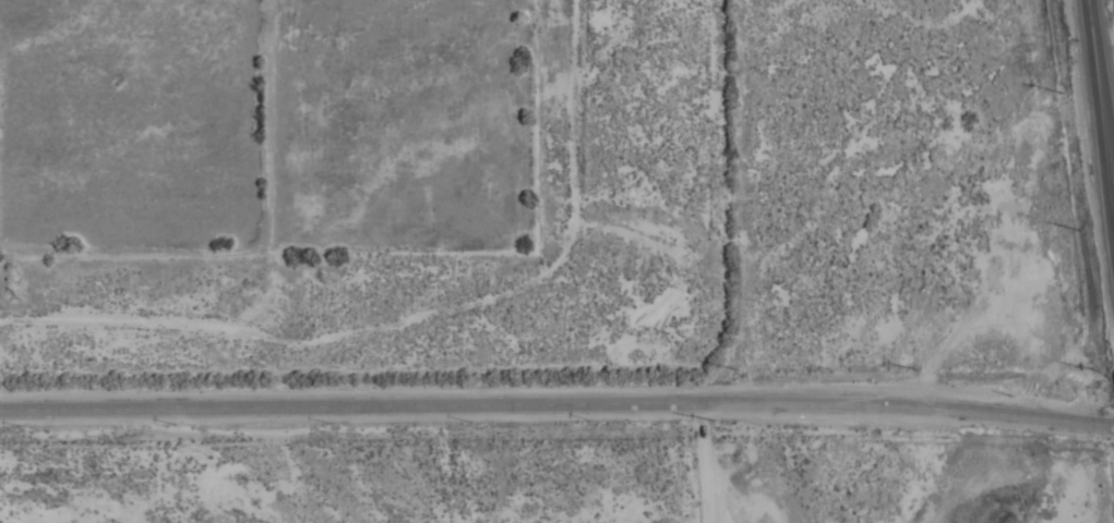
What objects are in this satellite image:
road: (1102, 86)
road: (556, 404)
road: (705, 463)

